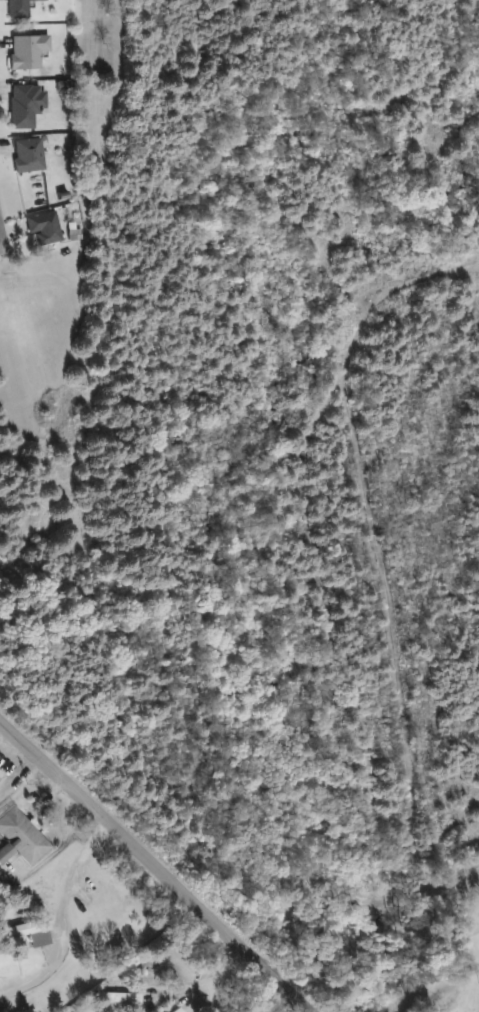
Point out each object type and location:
building: (14, 9)
building: (24, 51)
building: (20, 106)
building: (24, 155)
building: (40, 227)
road: (2, 239)
building: (0, 774)
building: (20, 838)
road: (152, 866)
road: (57, 916)
building: (26, 932)
road: (217, 977)
building: (115, 997)
building: (173, 1010)

